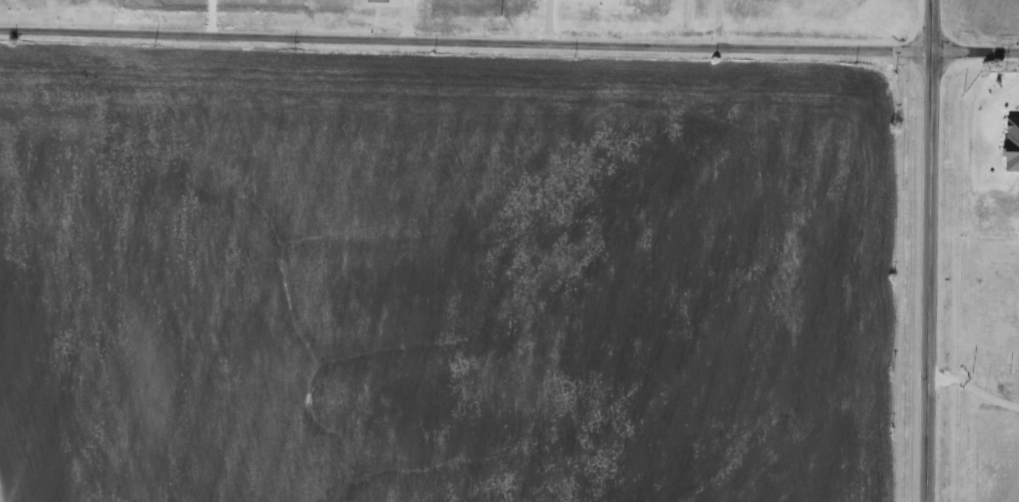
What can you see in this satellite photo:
road: (550, 22)
road: (718, 24)
road: (509, 43)
road: (932, 251)
road: (974, 394)

